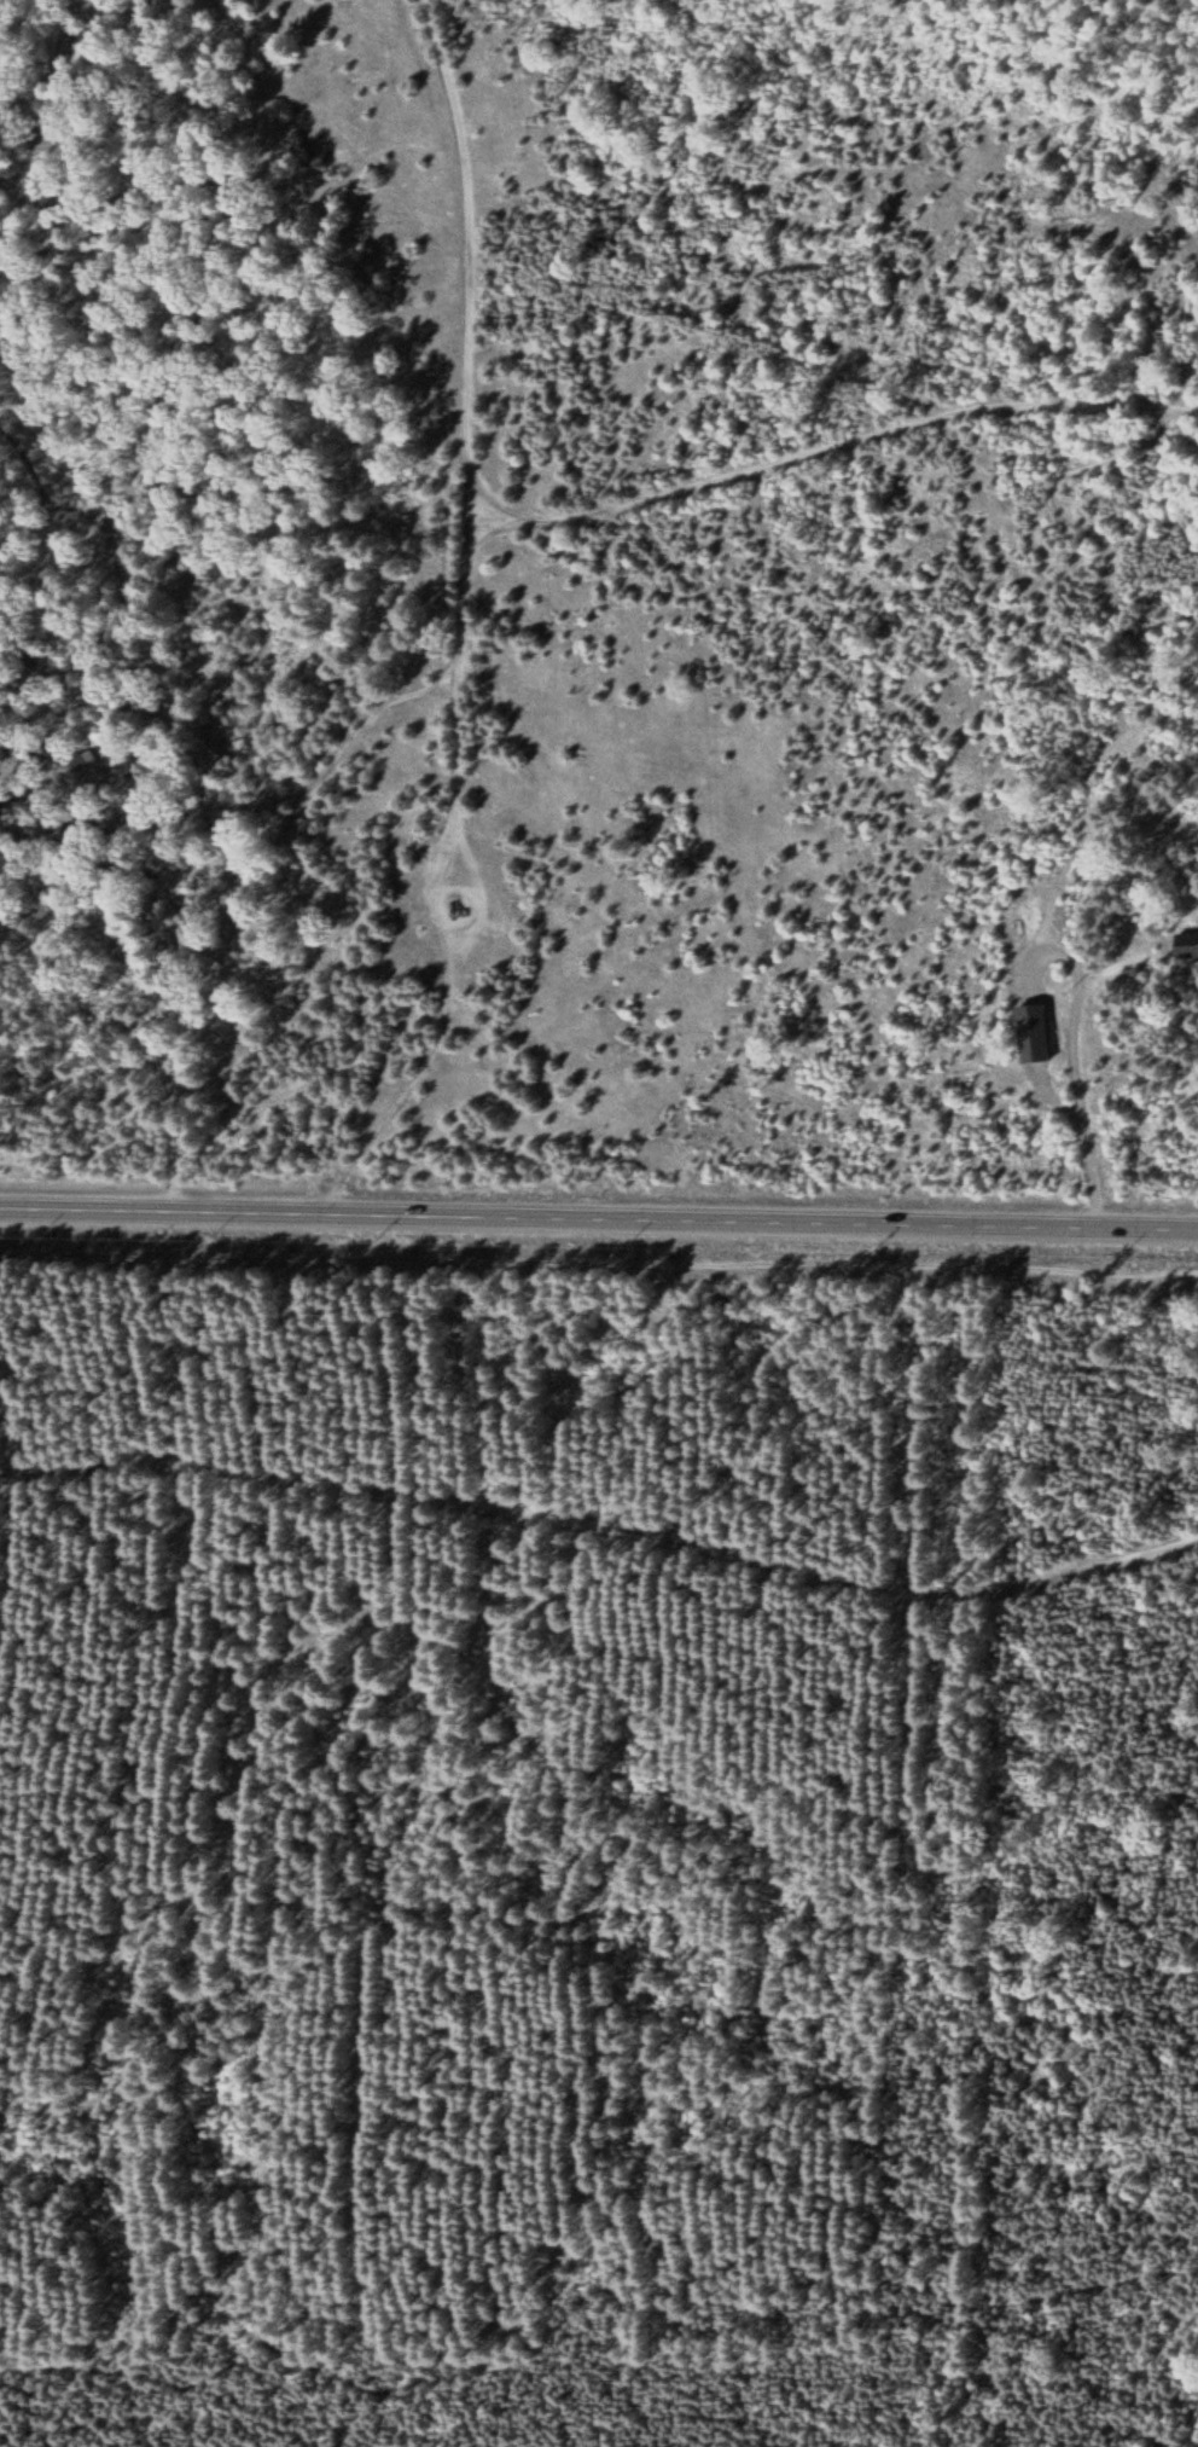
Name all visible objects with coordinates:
road: (443, 79)
road: (831, 446)
road: (467, 504)
petroleum well: (453, 904)
building: (1182, 947)
building: (1027, 1034)
road: (598, 1222)
road: (601, 1530)
road: (594, 2291)

